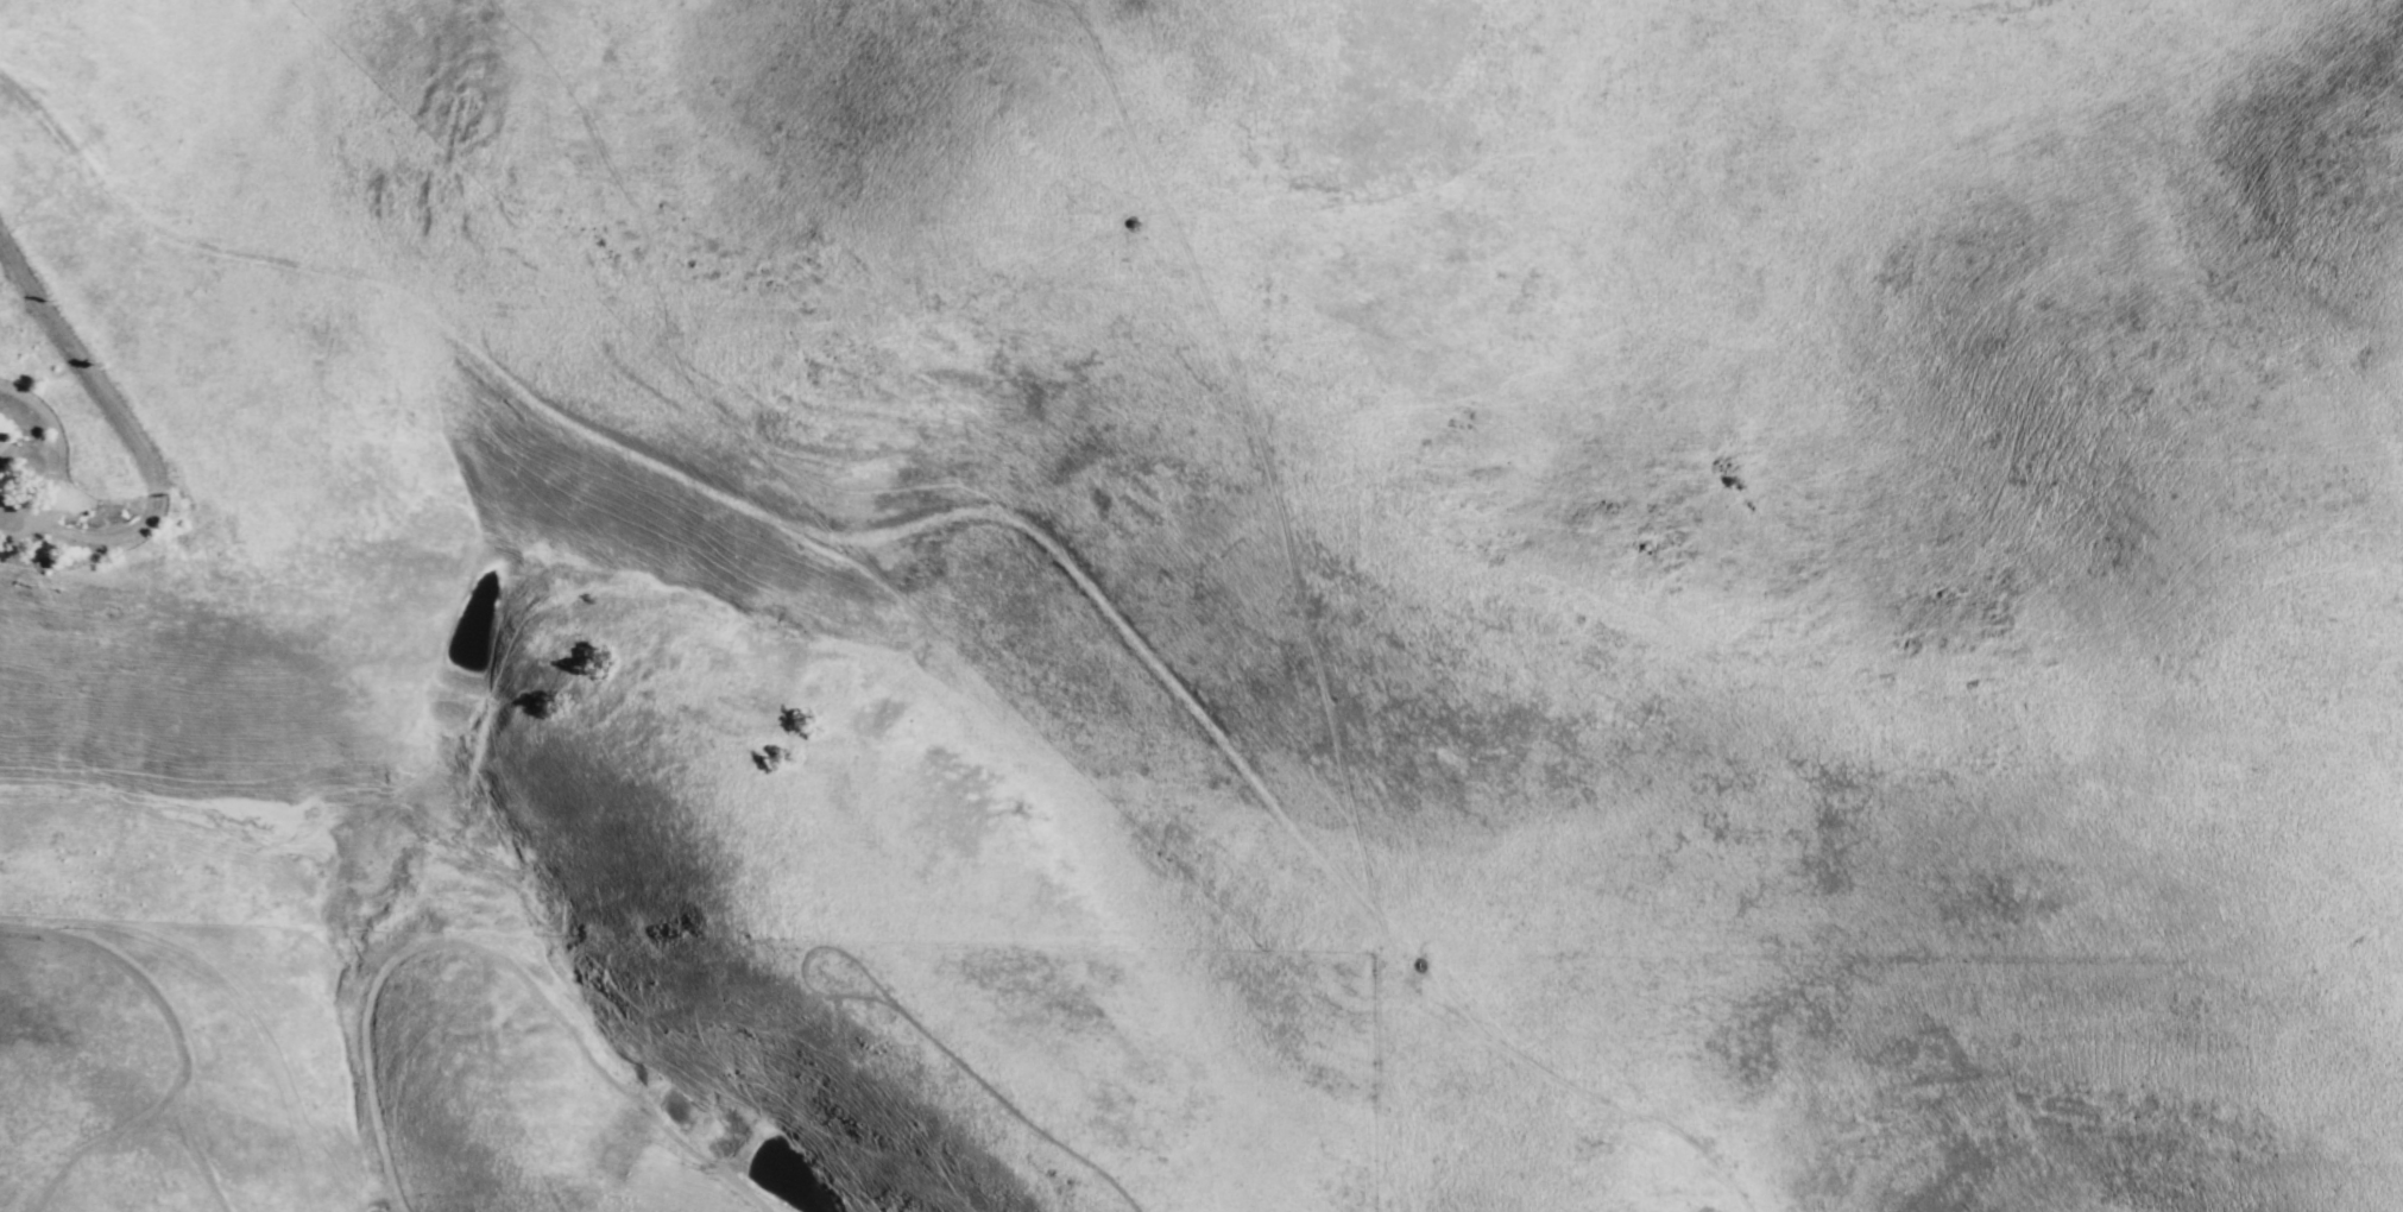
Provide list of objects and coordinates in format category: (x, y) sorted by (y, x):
road: (119, 447)

